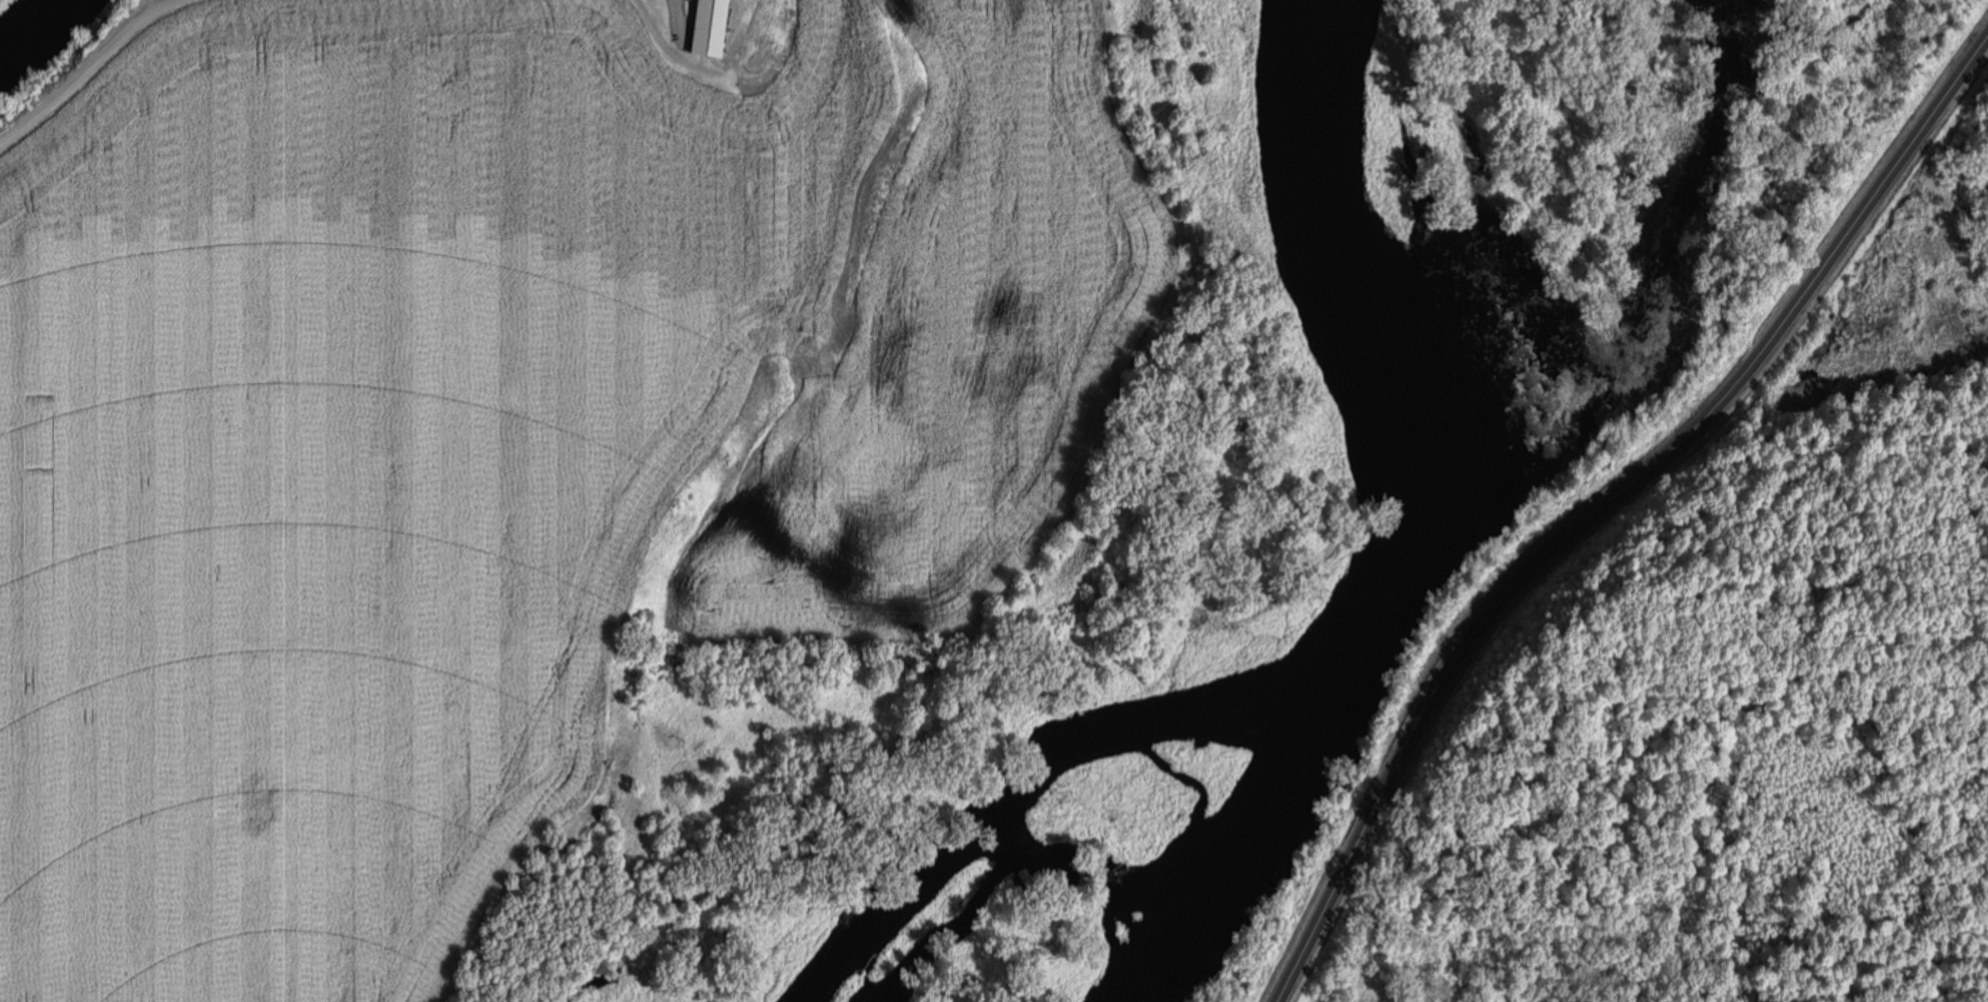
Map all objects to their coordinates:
river: (28, 16)
building: (716, 26)
road: (86, 72)
crop: (501, 429)
road: (1595, 493)
river: (1405, 524)

